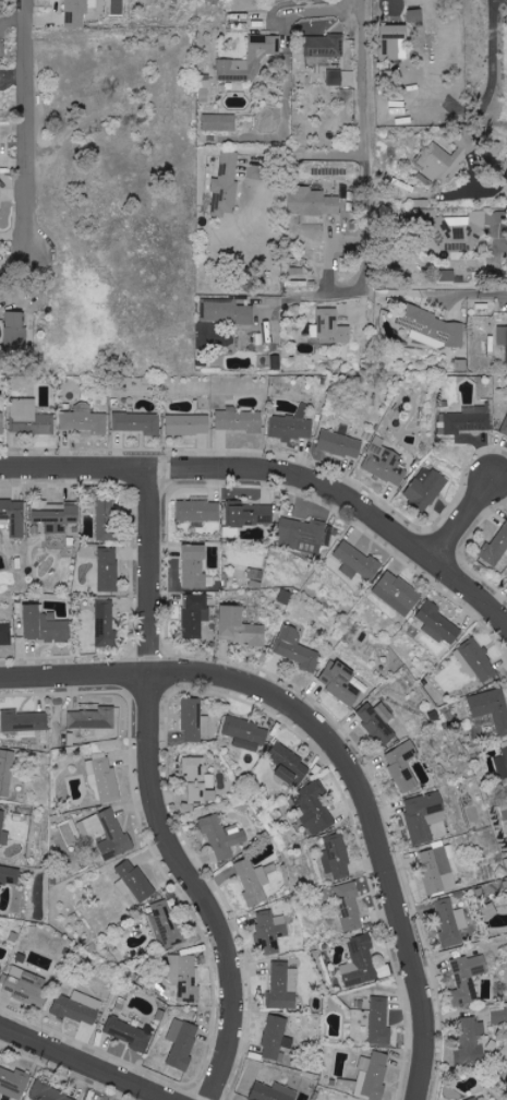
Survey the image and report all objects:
road: (390, 9)
building: (79, 11)
building: (417, 15)
road: (285, 22)
building: (395, 41)
building: (325, 45)
building: (0, 50)
building: (334, 59)
building: (250, 60)
building: (335, 77)
road: (484, 117)
building: (219, 122)
road: (24, 127)
building: (0, 130)
road: (364, 143)
building: (444, 159)
building: (226, 186)
road: (13, 256)
road: (473, 294)
road: (313, 295)
building: (229, 312)
building: (433, 325)
building: (333, 326)
building: (16, 331)
building: (503, 336)
building: (276, 361)
building: (28, 418)
building: (84, 420)
building: (239, 420)
building: (137, 422)
building: (464, 422)
building: (1, 423)
building: (188, 425)
building: (291, 426)
building: (505, 429)
building: (340, 444)
building: (385, 465)
road: (229, 471)
building: (426, 488)
building: (198, 511)
building: (250, 514)
building: (13, 516)
road: (469, 517)
building: (58, 518)
building: (106, 519)
building: (305, 536)
building: (496, 548)
building: (357, 562)
building: (195, 566)
building: (108, 569)
road: (472, 591)
building: (398, 594)
building: (195, 614)
building: (105, 623)
building: (439, 624)
building: (45, 626)
building: (240, 627)
building: (5, 634)
building: (295, 649)
building: (475, 660)
road: (77, 680)
building: (340, 682)
building: (491, 708)
building: (93, 718)
building: (194, 720)
building: (24, 722)
building: (377, 722)
building: (245, 733)
building: (289, 765)
building: (503, 765)
building: (403, 766)
building: (5, 770)
building: (104, 777)
building: (198, 781)
road: (157, 797)
building: (313, 808)
building: (424, 815)
road: (371, 822)
building: (3, 829)
building: (108, 833)
building: (221, 837)
building: (336, 856)
building: (436, 870)
building: (252, 881)
building: (134, 882)
building: (348, 906)
building: (449, 921)
building: (161, 923)
building: (270, 930)
building: (361, 962)
building: (0, 969)
building: (183, 977)
building: (468, 978)
building: (283, 985)
building: (25, 987)
building: (77, 1007)
building: (499, 1016)
building: (379, 1020)
building: (130, 1033)
building: (277, 1039)
building: (471, 1041)
building: (182, 1043)
road: (84, 1064)
building: (374, 1075)
building: (13, 1083)
building: (273, 1091)
building: (49, 1093)
building: (473, 1099)

